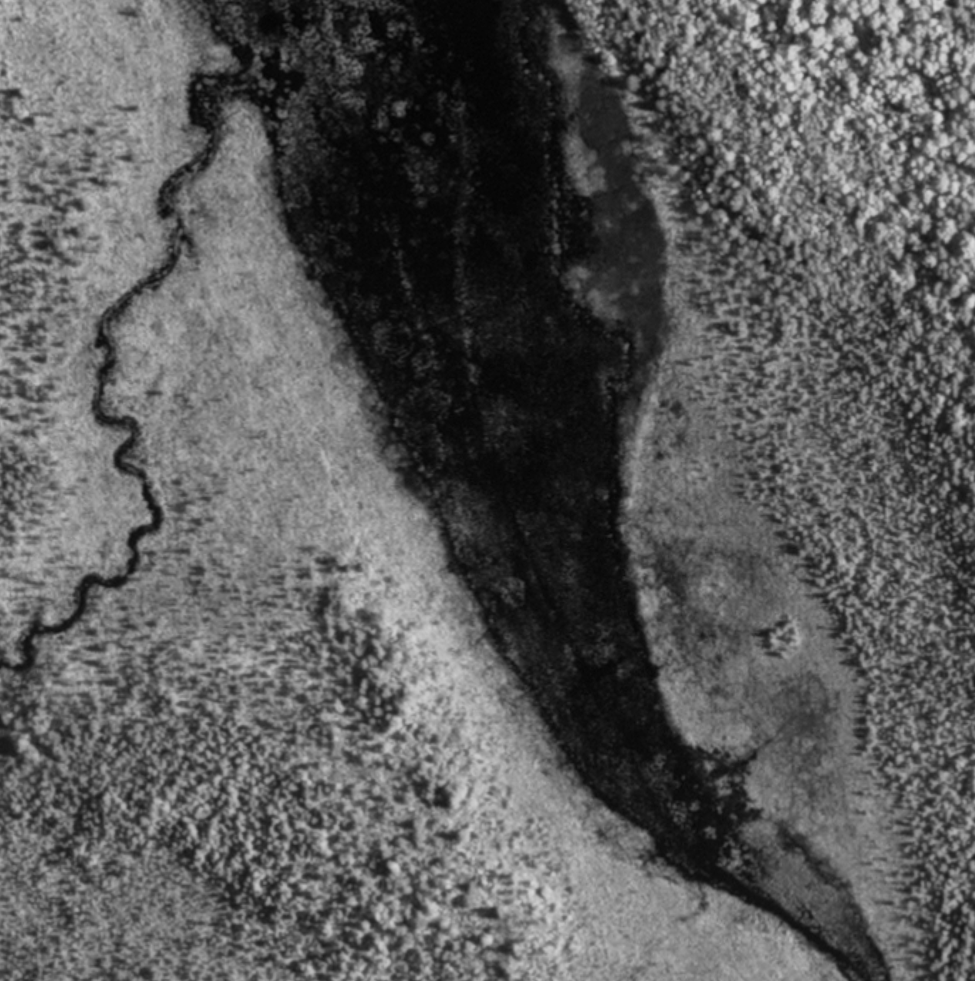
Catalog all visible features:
river: (798, 919)

